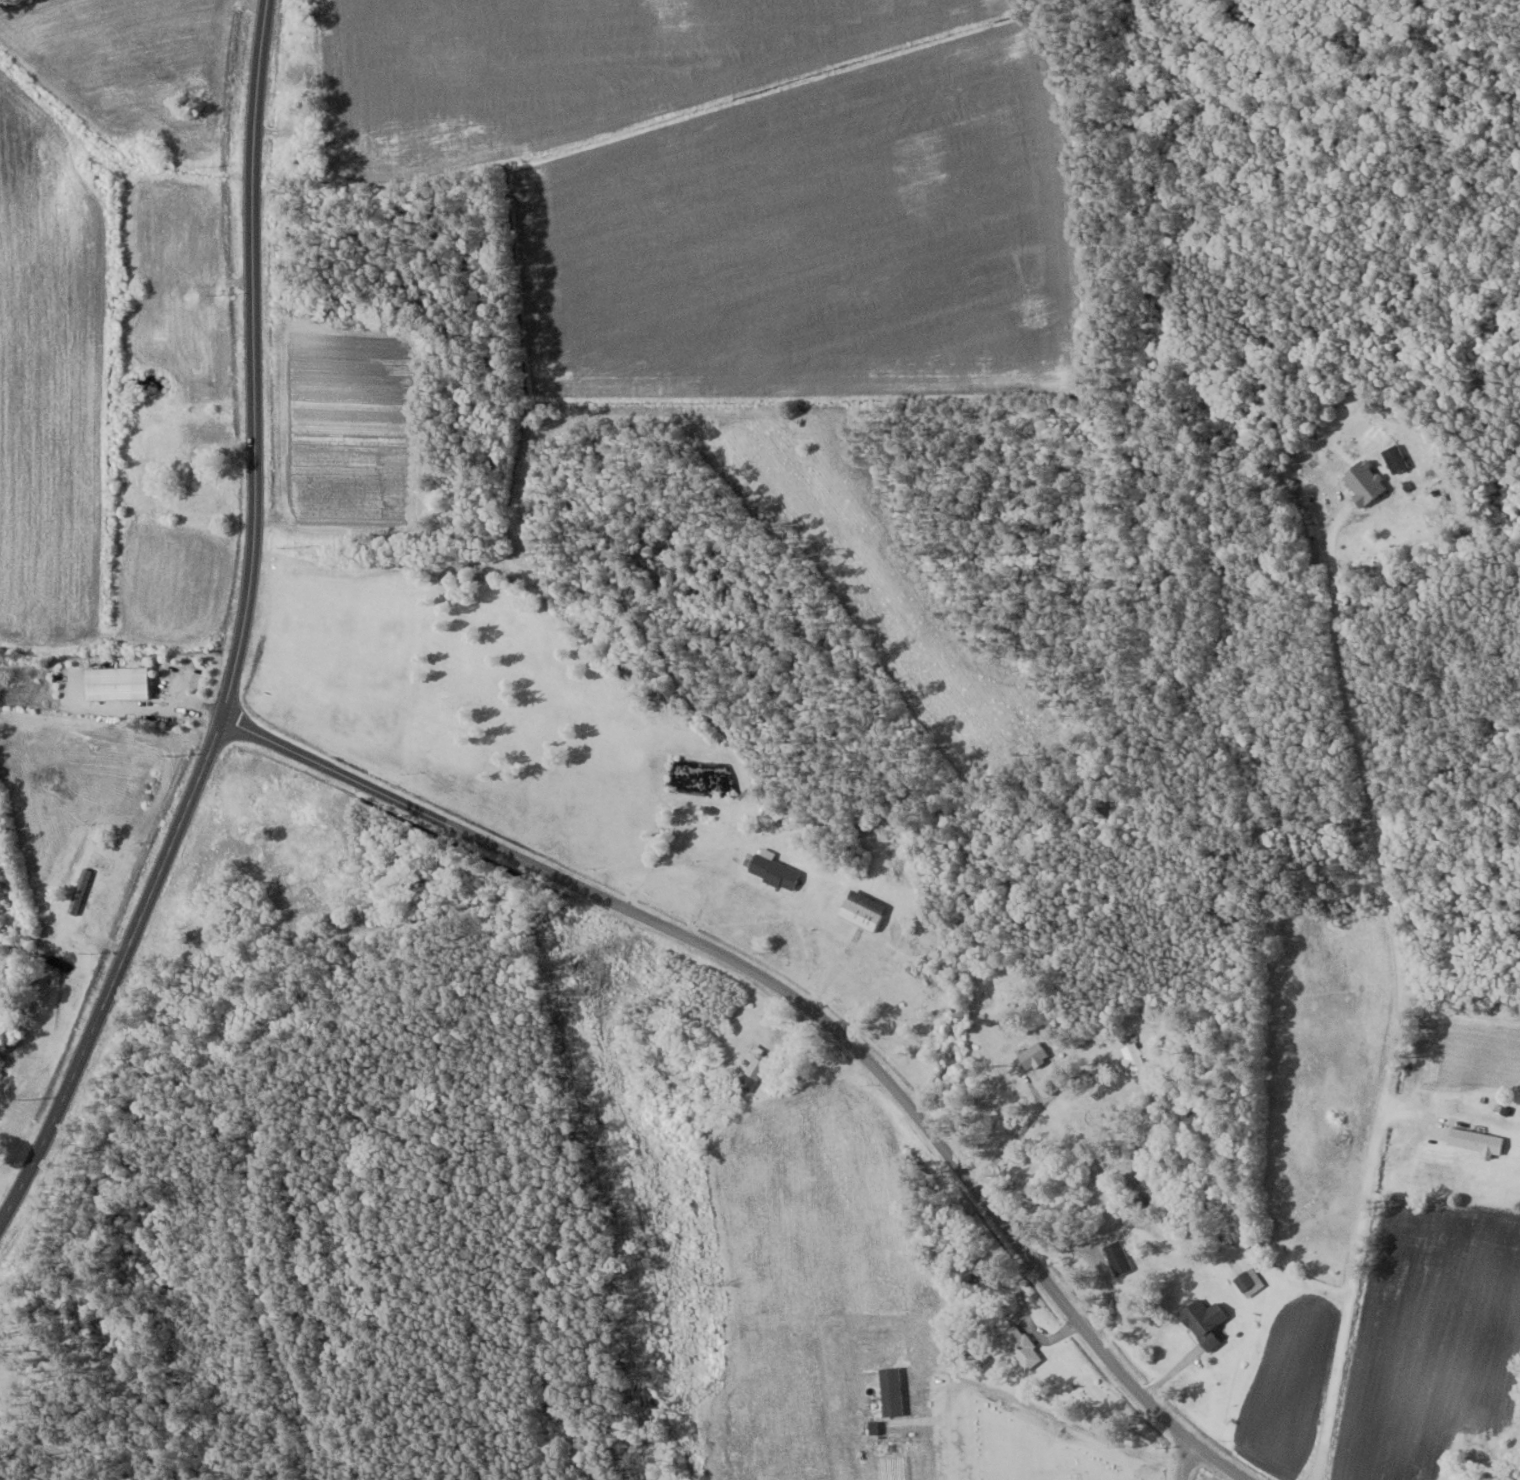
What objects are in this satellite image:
building: (204, 432)
building: (1394, 458)
building: (206, 503)
road: (247, 635)
building: (115, 682)
road: (1371, 803)
road: (692, 866)
building: (772, 868)
building: (78, 890)
building: (861, 909)
road: (803, 1006)
building: (1032, 1055)
building: (1133, 1058)
building: (752, 1066)
road: (1408, 1127)
building: (1475, 1140)
road: (1014, 1143)
road: (1130, 1228)
building: (1116, 1256)
building: (1248, 1280)
building: (1200, 1322)
road: (1344, 1330)
building: (1019, 1346)
road: (1181, 1457)
building: (1510, 1477)

